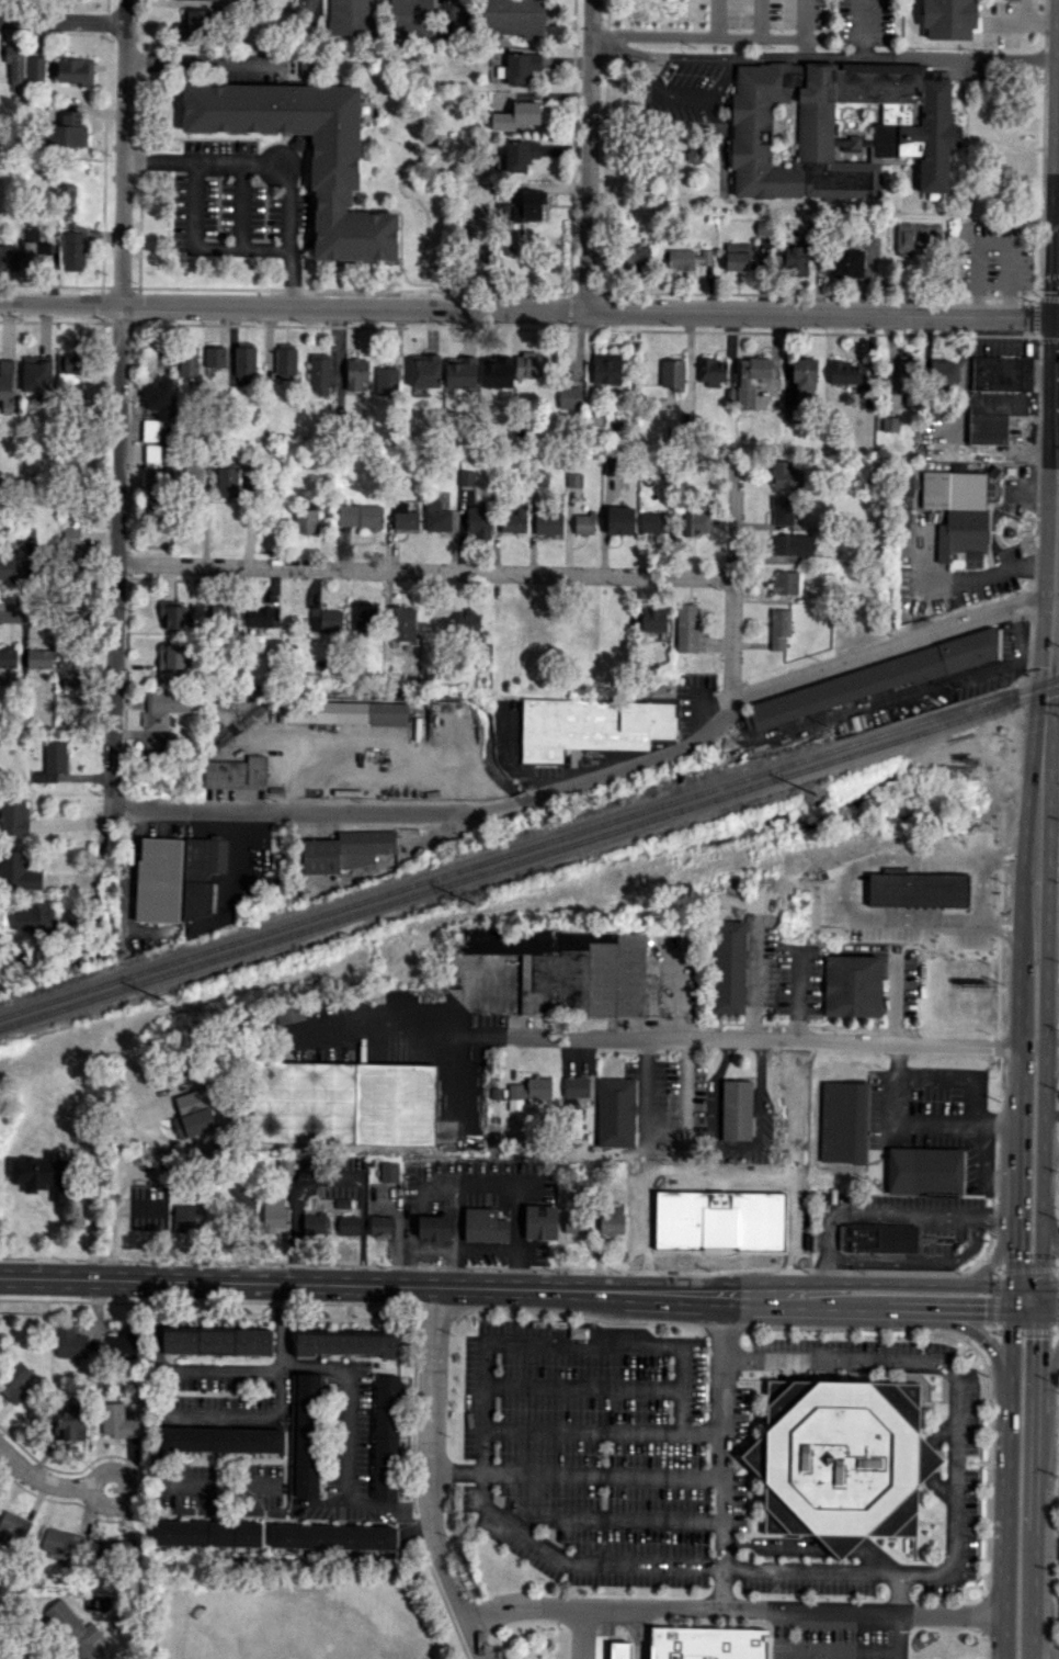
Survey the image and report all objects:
building: (251, 0)
parking lot: (768, 14)
road: (311, 18)
building: (351, 18)
building: (411, 18)
road: (717, 18)
road: (759, 18)
road: (802, 18)
building: (948, 18)
road: (1034, 19)
road: (61, 20)
road: (456, 20)
parking lot: (863, 22)
building: (192, 25)
road: (863, 30)
road: (705, 35)
road: (804, 47)
road: (617, 48)
road: (690, 57)
road: (896, 58)
road: (204, 59)
building: (14, 66)
building: (519, 67)
building: (35, 68)
building: (75, 70)
parking lot: (688, 83)
road: (688, 95)
building: (520, 115)
building: (69, 131)
building: (782, 131)
building: (519, 155)
road: (587, 155)
building: (334, 160)
road: (273, 163)
building: (67, 193)
building: (475, 210)
building: (523, 214)
building: (912, 236)
road: (993, 245)
road: (198, 249)
building: (72, 250)
building: (36, 252)
building: (740, 256)
parking lot: (994, 257)
building: (8, 258)
building: (637, 258)
building: (687, 258)
building: (795, 260)
building: (845, 263)
road: (528, 309)
road: (1058, 317)
traffic signals: (1058, 317)
building: (214, 357)
building: (187, 361)
building: (244, 362)
building: (286, 362)
building: (497, 363)
building: (528, 364)
building: (68, 368)
building: (606, 368)
building: (711, 371)
building: (943, 371)
building: (319, 372)
building: (356, 372)
building: (460, 372)
building: (846, 372)
building: (425, 373)
building: (1002, 373)
building: (672, 374)
building: (36, 375)
building: (804, 375)
building: (907, 375)
building: (751, 379)
building: (387, 381)
building: (5, 385)
building: (569, 396)
building: (159, 397)
building: (792, 414)
building: (992, 415)
building: (890, 424)
building: (150, 429)
building: (152, 452)
building: (612, 465)
road: (119, 471)
building: (193, 474)
building: (787, 475)
building: (466, 477)
building: (227, 479)
building: (573, 479)
building: (991, 492)
road: (1057, 495)
building: (782, 509)
building: (958, 515)
building: (360, 516)
building: (403, 517)
building: (436, 517)
building: (305, 520)
building: (514, 520)
building: (619, 520)
building: (478, 522)
building: (548, 522)
building: (651, 522)
building: (695, 522)
building: (583, 523)
road: (1057, 526)
building: (792, 544)
building: (70, 553)
building: (7, 567)
road: (426, 571)
building: (785, 583)
road: (954, 583)
road: (732, 589)
road: (1051, 592)
building: (172, 614)
building: (225, 614)
building: (365, 617)
road: (58, 618)
building: (258, 618)
building: (326, 619)
building: (653, 619)
building: (403, 620)
building: (467, 621)
building: (686, 628)
building: (778, 628)
road: (1054, 639)
building: (8, 657)
building: (171, 657)
building: (38, 658)
building: (68, 663)
building: (869, 680)
building: (68, 682)
building: (167, 706)
building: (343, 713)
building: (592, 725)
building: (52, 761)
road: (597, 770)
building: (235, 772)
road: (1048, 803)
building: (13, 815)
railway: (529, 847)
building: (348, 850)
railway: (529, 858)
building: (18, 871)
building: (176, 877)
road: (979, 888)
building: (940, 901)
road: (1046, 905)
building: (33, 918)
building: (728, 966)
building: (570, 968)
road: (753, 980)
building: (852, 985)
road: (1016, 986)
road: (798, 994)
road: (1051, 1005)
building: (289, 1014)
road: (401, 1017)
road: (747, 1040)
road: (1030, 1046)
road: (1051, 1047)
building: (578, 1085)
building: (533, 1090)
building: (786, 1090)
building: (646, 1098)
road: (1015, 1099)
building: (301, 1101)
building: (394, 1104)
road: (1044, 1107)
building: (737, 1108)
building: (197, 1110)
building: (616, 1111)
building: (91, 1114)
building: (843, 1120)
building: (573, 1121)
road: (913, 1125)
road: (738, 1144)
road: (1050, 1151)
building: (285, 1165)
road: (688, 1165)
road: (800, 1165)
building: (305, 1169)
building: (925, 1170)
road: (982, 1170)
building: (389, 1171)
building: (50, 1173)
road: (333, 1182)
road: (1013, 1183)
parking lot: (149, 1205)
building: (246, 1209)
road: (886, 1212)
building: (276, 1215)
building: (735, 1215)
building: (190, 1217)
building: (679, 1217)
building: (615, 1221)
building: (316, 1222)
building: (545, 1222)
building: (579, 1222)
building: (351, 1223)
building: (382, 1224)
building: (648, 1224)
road: (1049, 1224)
building: (437, 1226)
building: (486, 1226)
road: (112, 1227)
building: (778, 1228)
building: (874, 1238)
road: (997, 1255)
traffic signals: (1013, 1260)
road: (1013, 1263)
road: (921, 1284)
road: (415, 1285)
road: (1026, 1286)
road: (1049, 1286)
road: (847, 1298)
road: (897, 1310)
traffic signals: (982, 1312)
road: (986, 1312)
road: (1049, 1313)
road: (151, 1324)
traffic signals: (1039, 1338)
building: (216, 1341)
building: (70, 1342)
building: (348, 1342)
building: (122, 1343)
road: (989, 1348)
road: (1010, 1365)
road: (216, 1368)
building: (15, 1381)
road: (580, 1385)
road: (1046, 1385)
road: (957, 1399)
road: (348, 1403)
road: (1038, 1409)
road: (240, 1414)
building: (116, 1421)
building: (70, 1424)
road: (153, 1429)
road: (580, 1431)
building: (306, 1434)
building: (387, 1434)
building: (220, 1440)
parking lot: (585, 1447)
road: (722, 1448)
building: (844, 1459)
road: (576, 1474)
road: (428, 1477)
road: (41, 1478)
road: (215, 1479)
road: (127, 1489)
road: (321, 1502)
road: (1006, 1515)
building: (12, 1530)
building: (210, 1535)
building: (334, 1537)
building: (61, 1543)
building: (111, 1549)
road: (576, 1566)
road: (808, 1572)
road: (1034, 1595)
road: (735, 1606)
building: (72, 1628)
road: (584, 1633)
road: (781, 1633)
road: (899, 1634)
road: (1004, 1636)
parking lot: (839, 1639)
building: (708, 1643)
road: (840, 1650)

